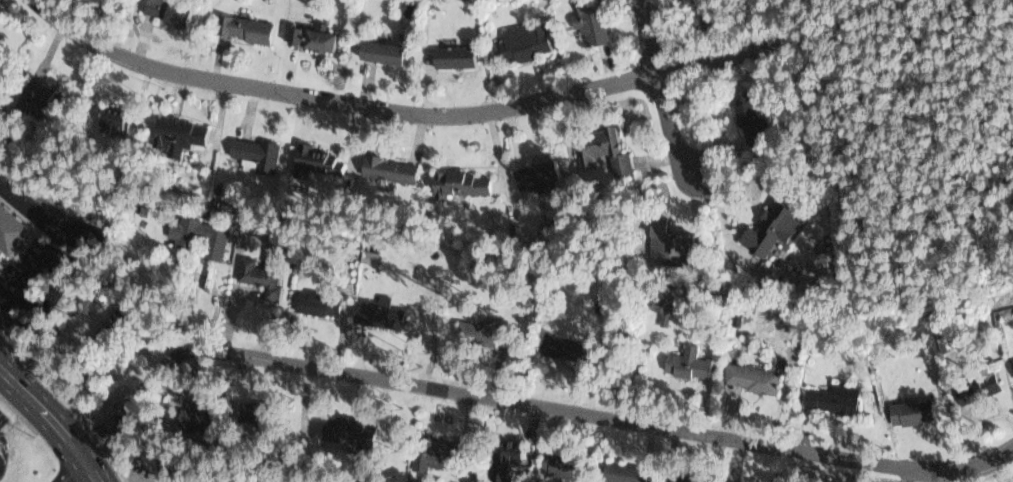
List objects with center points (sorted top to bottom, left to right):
building: (114, 0)
building: (97, 1)
building: (163, 10)
building: (703, 15)
building: (588, 19)
building: (245, 28)
building: (310, 34)
building: (522, 40)
building: (381, 48)
building: (454, 58)
road: (662, 92)
building: (45, 98)
road: (403, 110)
building: (751, 111)
building: (113, 119)
building: (172, 138)
building: (599, 145)
building: (254, 150)
building: (308, 160)
building: (531, 169)
building: (387, 172)
building: (460, 180)
building: (12, 230)
building: (185, 231)
building: (765, 233)
building: (664, 240)
road: (56, 245)
building: (371, 257)
building: (261, 276)
building: (317, 304)
building: (657, 304)
building: (373, 315)
building: (111, 329)
building: (492, 332)
building: (560, 345)
building: (684, 360)
building: (1011, 361)
building: (745, 374)
building: (975, 385)
road: (464, 392)
building: (828, 395)
building: (905, 408)
building: (255, 410)
building: (194, 415)
road: (53, 420)
building: (340, 428)
building: (425, 453)
building: (501, 461)
building: (558, 464)
road: (956, 467)
road: (71, 469)
building: (621, 471)
building: (165, 476)
building: (673, 480)
building: (735, 480)

